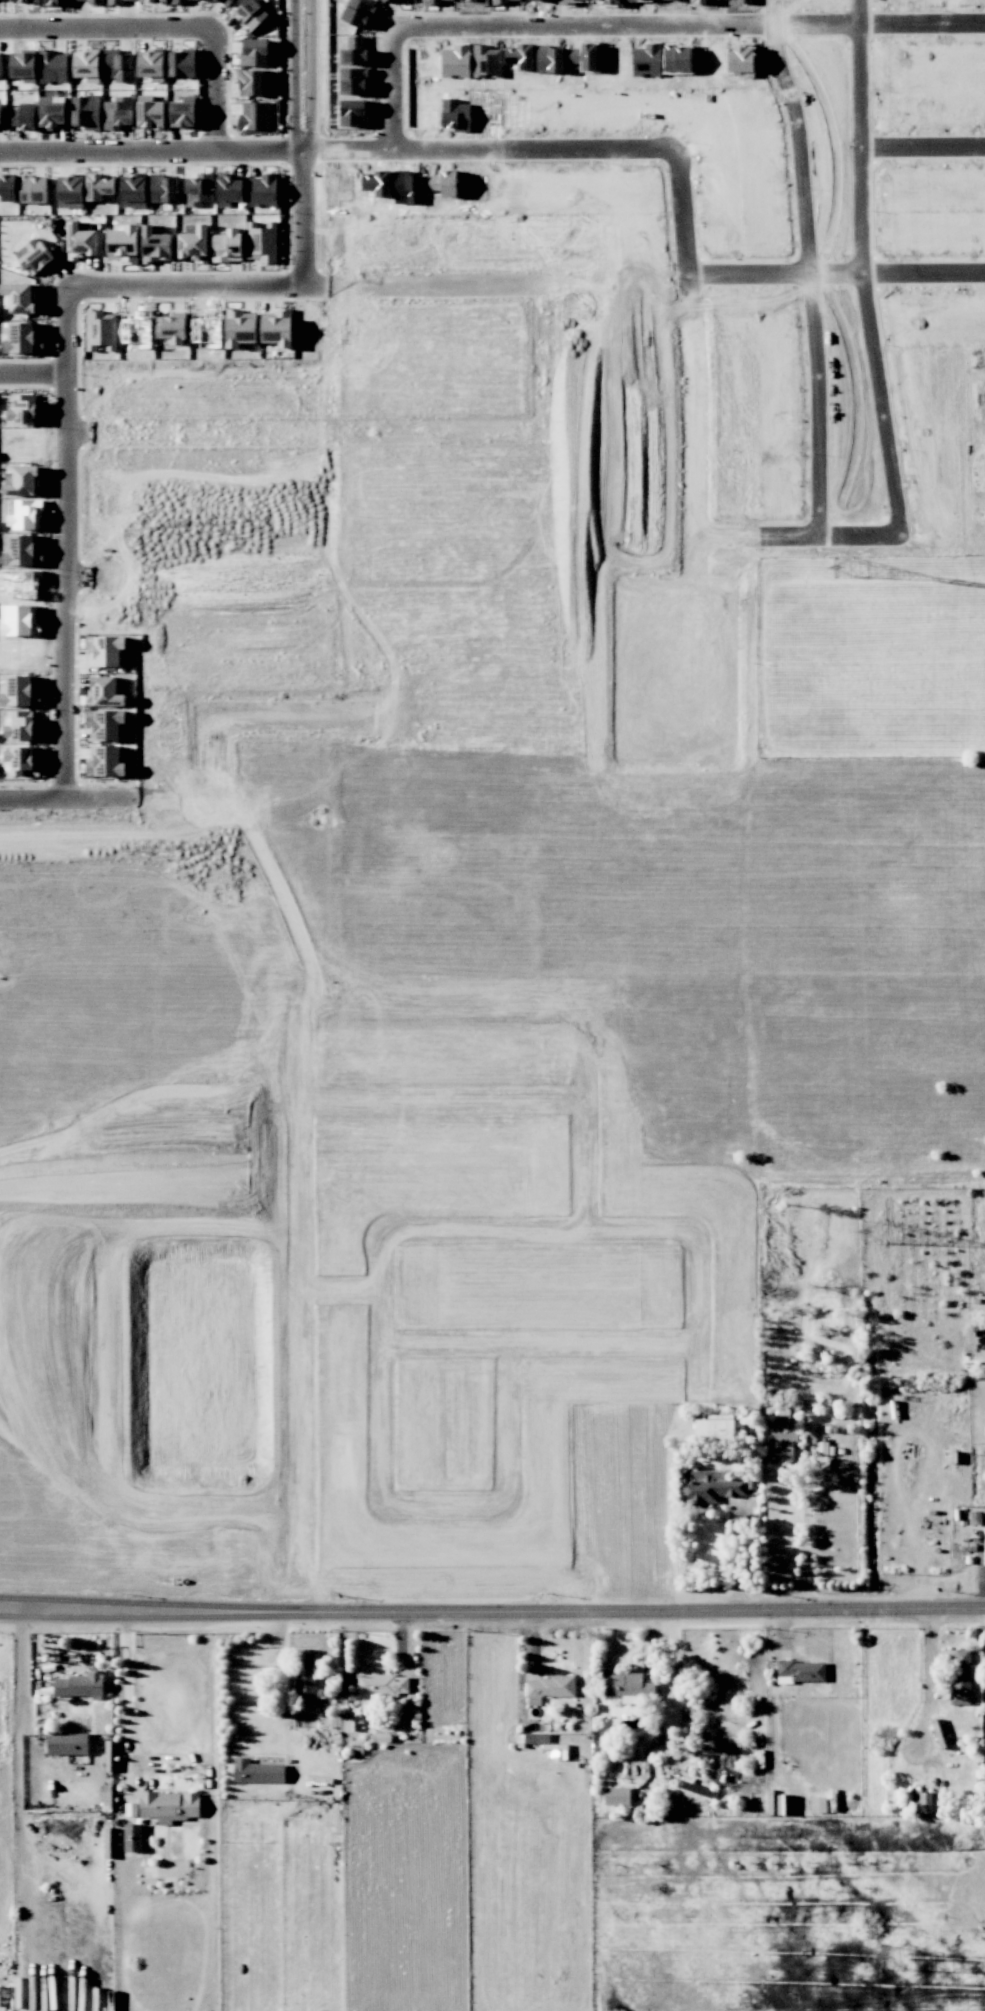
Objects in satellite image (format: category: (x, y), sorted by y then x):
building: (214, 0)
building: (226, 2)
building: (358, 13)
building: (250, 14)
road: (632, 26)
building: (254, 52)
building: (354, 56)
building: (23, 65)
building: (354, 81)
building: (254, 82)
road: (223, 89)
building: (353, 113)
building: (151, 115)
building: (182, 115)
building: (50, 116)
building: (255, 116)
building: (23, 118)
road: (268, 146)
road: (311, 146)
road: (570, 149)
road: (926, 151)
building: (70, 183)
building: (6, 184)
building: (100, 185)
building: (262, 241)
building: (81, 242)
building: (194, 243)
building: (35, 256)
road: (810, 267)
road: (836, 281)
building: (21, 296)
building: (280, 326)
building: (173, 329)
building: (101, 330)
building: (245, 331)
building: (25, 340)
road: (883, 368)
road: (37, 378)
road: (73, 395)
building: (24, 410)
road: (316, 434)
building: (27, 479)
building: (20, 550)
road: (697, 550)
power tower: (840, 566)
road: (316, 581)
road: (561, 635)
building: (106, 651)
building: (21, 691)
building: (105, 691)
building: (105, 724)
building: (23, 760)
building: (105, 761)
road: (587, 900)
road: (772, 956)
road: (679, 984)
road: (784, 1123)
power tower: (870, 1231)
road: (347, 1297)
road: (448, 1344)
road: (309, 1358)
road: (385, 1410)
building: (715, 1427)
building: (784, 1447)
building: (704, 1487)
building: (984, 1544)
road: (738, 1556)
road: (492, 1610)
building: (802, 1670)
road: (927, 1670)
building: (305, 1671)
building: (960, 1676)
building: (367, 1682)
road: (240, 1683)
building: (79, 1685)
building: (627, 1685)
building: (548, 1688)
road: (126, 1705)
building: (536, 1738)
building: (67, 1743)
building: (257, 1772)
building: (617, 1796)
building: (920, 1802)
building: (190, 1804)
building: (818, 1804)
building: (133, 1837)
power tower: (889, 1958)

